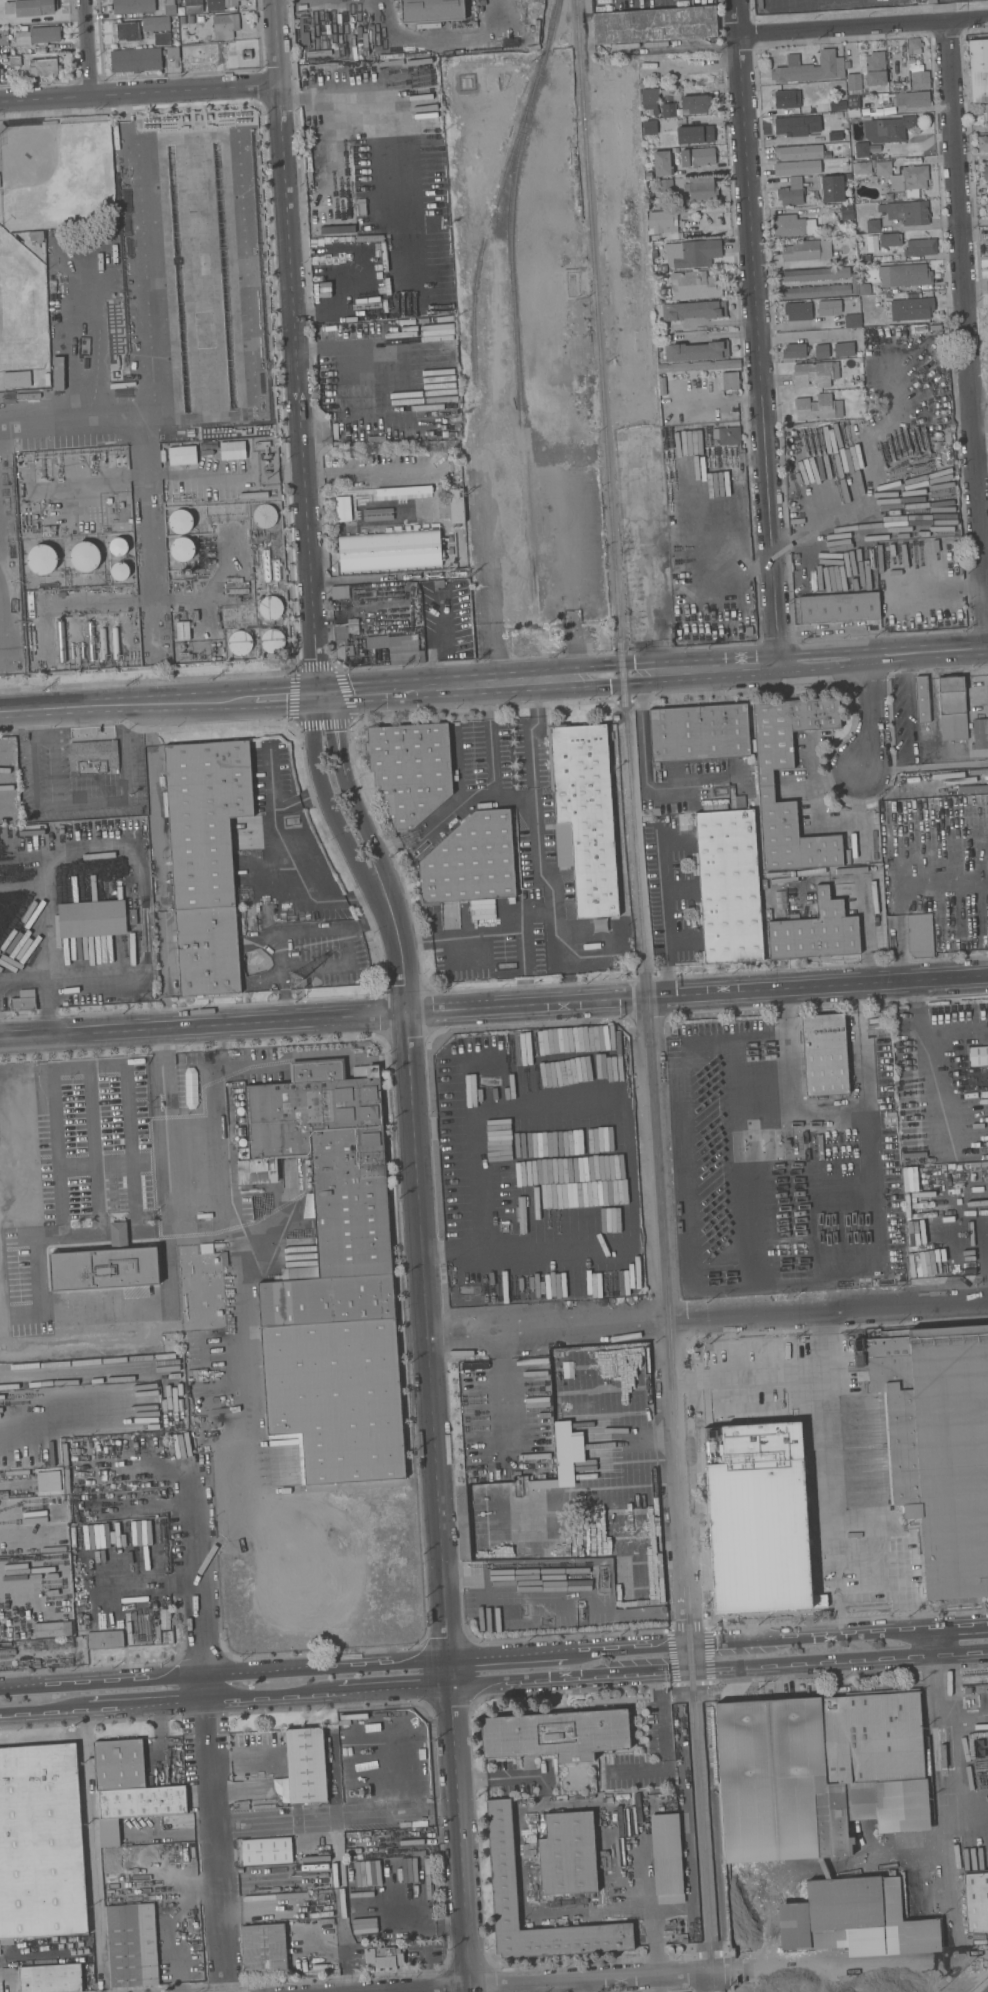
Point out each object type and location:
building: (221, 4)
building: (133, 6)
building: (30, 7)
building: (170, 7)
building: (432, 10)
building: (156, 24)
building: (656, 25)
road: (862, 25)
building: (225, 26)
building: (304, 29)
building: (126, 32)
building: (45, 35)
building: (3, 37)
building: (163, 39)
building: (914, 45)
road: (87, 48)
road: (661, 50)
building: (978, 55)
building: (142, 58)
building: (15, 60)
building: (46, 66)
building: (810, 68)
building: (868, 72)
building: (901, 75)
building: (920, 80)
building: (902, 86)
building: (979, 86)
road: (139, 93)
building: (651, 99)
building: (788, 99)
building: (913, 99)
building: (838, 103)
building: (695, 104)
railway: (526, 109)
building: (669, 110)
building: (854, 112)
building: (985, 113)
building: (798, 125)
building: (2, 126)
building: (650, 127)
building: (888, 129)
building: (696, 134)
building: (983, 143)
building: (862, 150)
building: (798, 153)
building: (698, 157)
building: (662, 163)
park: (54, 175)
building: (899, 176)
building: (986, 176)
building: (0, 182)
building: (666, 186)
building: (701, 189)
building: (833, 189)
building: (792, 193)
building: (887, 197)
building: (987, 203)
building: (986, 206)
building: (362, 209)
building: (847, 212)
building: (907, 212)
park: (42, 225)
building: (663, 225)
building: (792, 225)
building: (873, 225)
building: (336, 229)
building: (37, 236)
building: (890, 239)
railway: (482, 245)
building: (921, 247)
building: (806, 250)
building: (695, 254)
building: (865, 258)
building: (663, 268)
building: (812, 275)
building: (905, 275)
building: (855, 284)
building: (694, 285)
building: (987, 287)
building: (865, 289)
building: (813, 291)
building: (856, 301)
park: (21, 307)
building: (829, 307)
building: (912, 309)
building: (693, 310)
building: (799, 310)
road: (967, 313)
building: (853, 320)
road: (731, 322)
road: (148, 331)
road: (758, 331)
road: (733, 334)
road: (800, 336)
road: (297, 347)
building: (844, 349)
building: (795, 350)
building: (697, 351)
building: (822, 351)
railway: (600, 352)
building: (701, 366)
building: (59, 373)
building: (815, 373)
building: (16, 379)
building: (731, 381)
building: (663, 386)
road: (722, 398)
building: (818, 408)
railway: (521, 420)
road: (354, 425)
building: (443, 431)
building: (727, 435)
building: (233, 450)
building: (943, 454)
building: (184, 455)
road: (356, 472)
road: (161, 475)
building: (457, 505)
building: (265, 515)
storage tank: (265, 515)
building: (179, 521)
storage tank: (179, 521)
road: (813, 540)
building: (118, 546)
storage tank: (118, 546)
building: (181, 549)
storage tank: (181, 549)
building: (83, 556)
storage tank: (83, 556)
building: (42, 559)
storage tank: (42, 559)
building: (266, 565)
building: (276, 569)
building: (120, 571)
storage tank: (120, 571)
building: (954, 571)
building: (339, 592)
building: (839, 607)
building: (271, 608)
storage tank: (271, 608)
building: (183, 630)
building: (749, 631)
building: (344, 636)
building: (61, 641)
building: (91, 641)
building: (273, 641)
storage tank: (273, 641)
building: (116, 643)
building: (240, 643)
storage tank: (240, 643)
building: (104, 644)
building: (398, 647)
road: (654, 672)
traffic signals: (320, 695)
building: (922, 699)
road: (159, 703)
building: (953, 708)
road: (874, 714)
road: (34, 719)
building: (699, 733)
building: (980, 733)
building: (94, 757)
road: (54, 760)
road: (926, 768)
building: (410, 769)
road: (270, 778)
road: (494, 780)
road: (460, 783)
building: (766, 785)
road: (93, 802)
road: (533, 810)
building: (584, 815)
building: (205, 818)
road: (284, 857)
building: (472, 862)
building: (729, 887)
road: (662, 913)
building: (133, 916)
building: (92, 919)
road: (292, 931)
building: (816, 932)
road: (487, 935)
building: (920, 935)
road: (521, 950)
building: (207, 951)
road: (43, 985)
building: (24, 1000)
road: (494, 1007)
building: (825, 1054)
road: (39, 1055)
building: (978, 1056)
road: (282, 1058)
road: (931, 1068)
road: (170, 1077)
road: (152, 1078)
building: (241, 1096)
road: (53, 1103)
building: (241, 1110)
road: (828, 1113)
road: (628, 1117)
road: (202, 1118)
building: (239, 1132)
building: (242, 1142)
road: (482, 1187)
road: (169, 1213)
road: (60, 1225)
road: (119, 1235)
building: (207, 1248)
road: (506, 1251)
building: (225, 1258)
building: (105, 1265)
building: (332, 1279)
road: (707, 1318)
road: (245, 1326)
road: (426, 1336)
railway: (667, 1347)
road: (83, 1358)
road: (505, 1385)
building: (709, 1388)
road: (186, 1417)
road: (24, 1426)
building: (937, 1445)
building: (48, 1480)
road: (681, 1494)
road: (832, 1502)
road: (67, 1529)
petroleum well: (602, 1579)
road: (147, 1582)
petroleum well: (580, 1609)
building: (52, 1629)
building: (105, 1639)
road: (782, 1649)
road: (513, 1667)
road: (226, 1674)
building: (981, 1688)
road: (227, 1698)
road: (207, 1731)
building: (556, 1734)
road: (664, 1740)
road: (945, 1744)
road: (245, 1758)
building: (977, 1760)
building: (306, 1764)
building: (817, 1773)
road: (501, 1781)
building: (129, 1788)
building: (622, 1796)
building: (240, 1805)
road: (307, 1817)
building: (608, 1839)
building: (40, 1843)
road: (92, 1849)
building: (267, 1851)
building: (568, 1854)
building: (666, 1858)
building: (502, 1861)
building: (976, 1902)
building: (852, 1921)
building: (132, 1945)
building: (264, 1949)
building: (383, 1957)
road: (610, 1978)
building: (52, 1979)
road: (589, 1986)
building: (868, 1987)
railway: (985, 1989)

